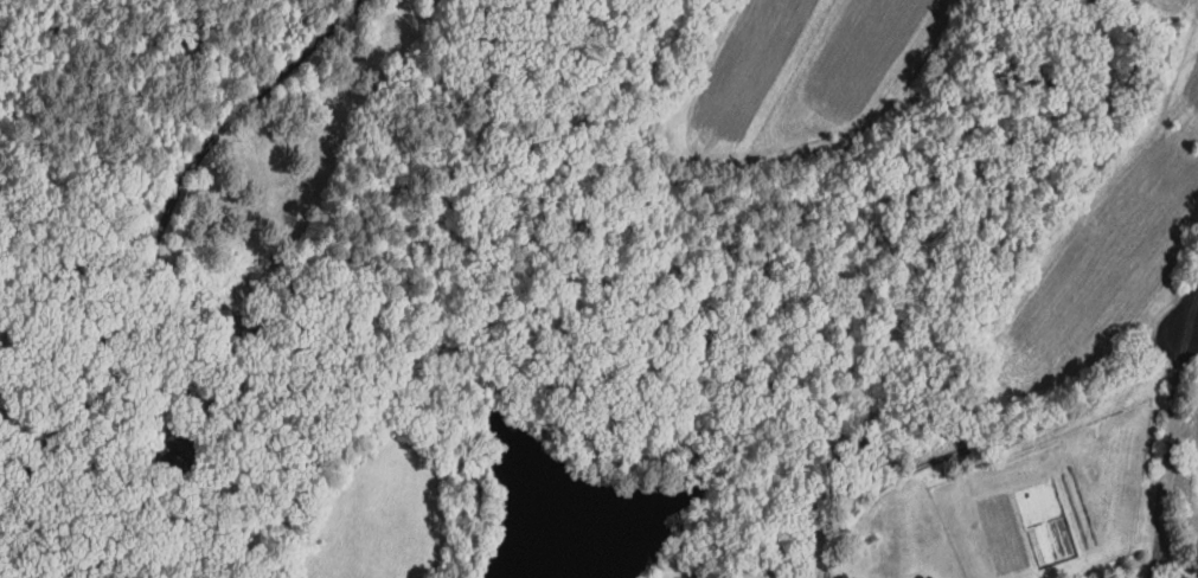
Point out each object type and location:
road: (150, 235)
road: (1191, 306)
road: (989, 442)
road: (1170, 451)
road: (88, 460)
road: (1178, 559)

